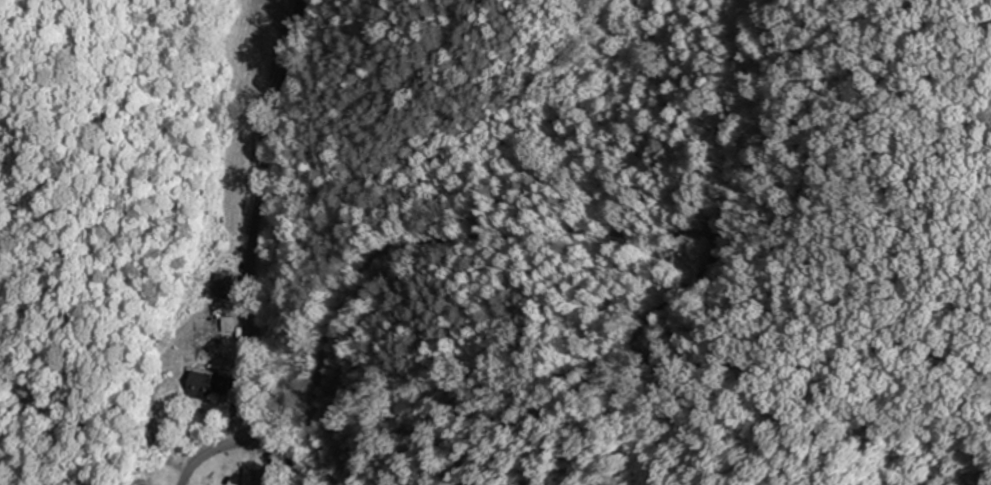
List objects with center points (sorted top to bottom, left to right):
road: (248, 260)
building: (226, 283)
building: (216, 384)
building: (255, 471)

